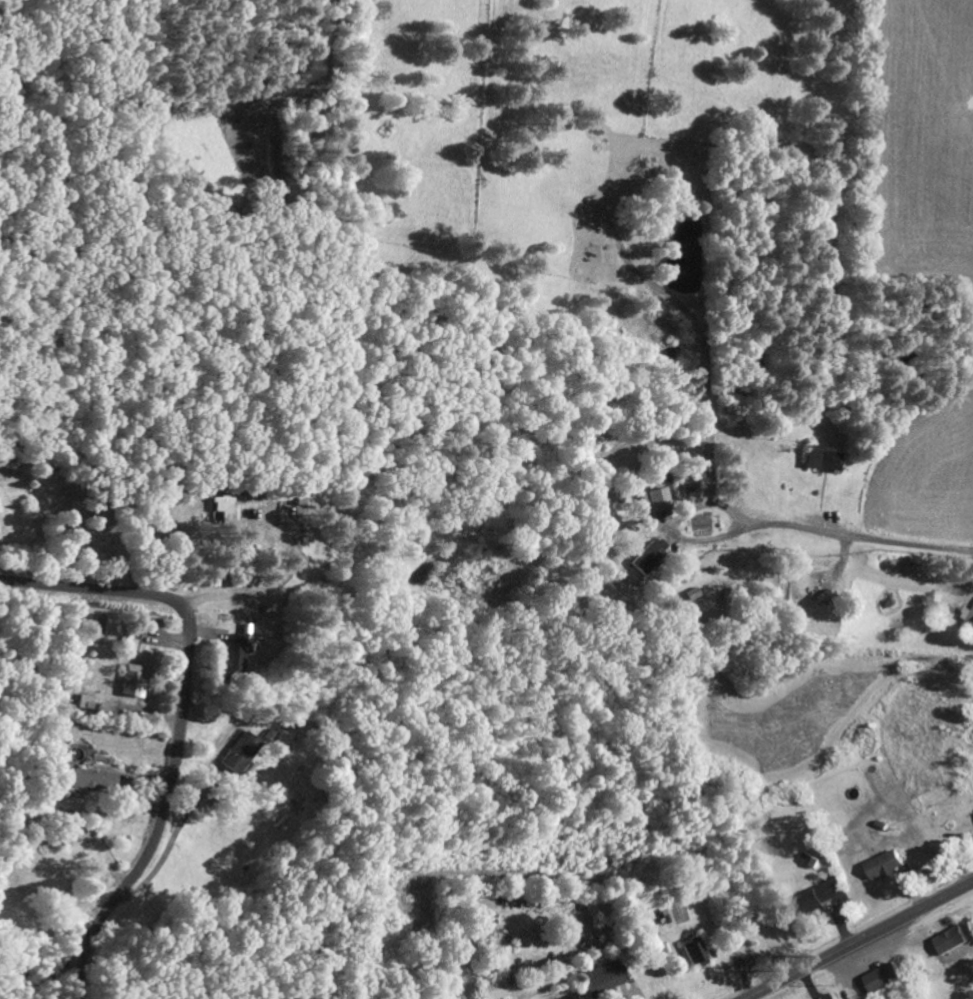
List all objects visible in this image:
building: (822, 459)
building: (654, 500)
building: (224, 508)
building: (646, 558)
building: (968, 621)
building: (232, 656)
building: (132, 681)
building: (84, 701)
road: (180, 720)
building: (239, 753)
building: (87, 779)
building: (885, 866)
building: (818, 897)
road: (859, 940)
building: (948, 948)
building: (694, 952)
building: (602, 979)
building: (885, 979)
building: (493, 989)

